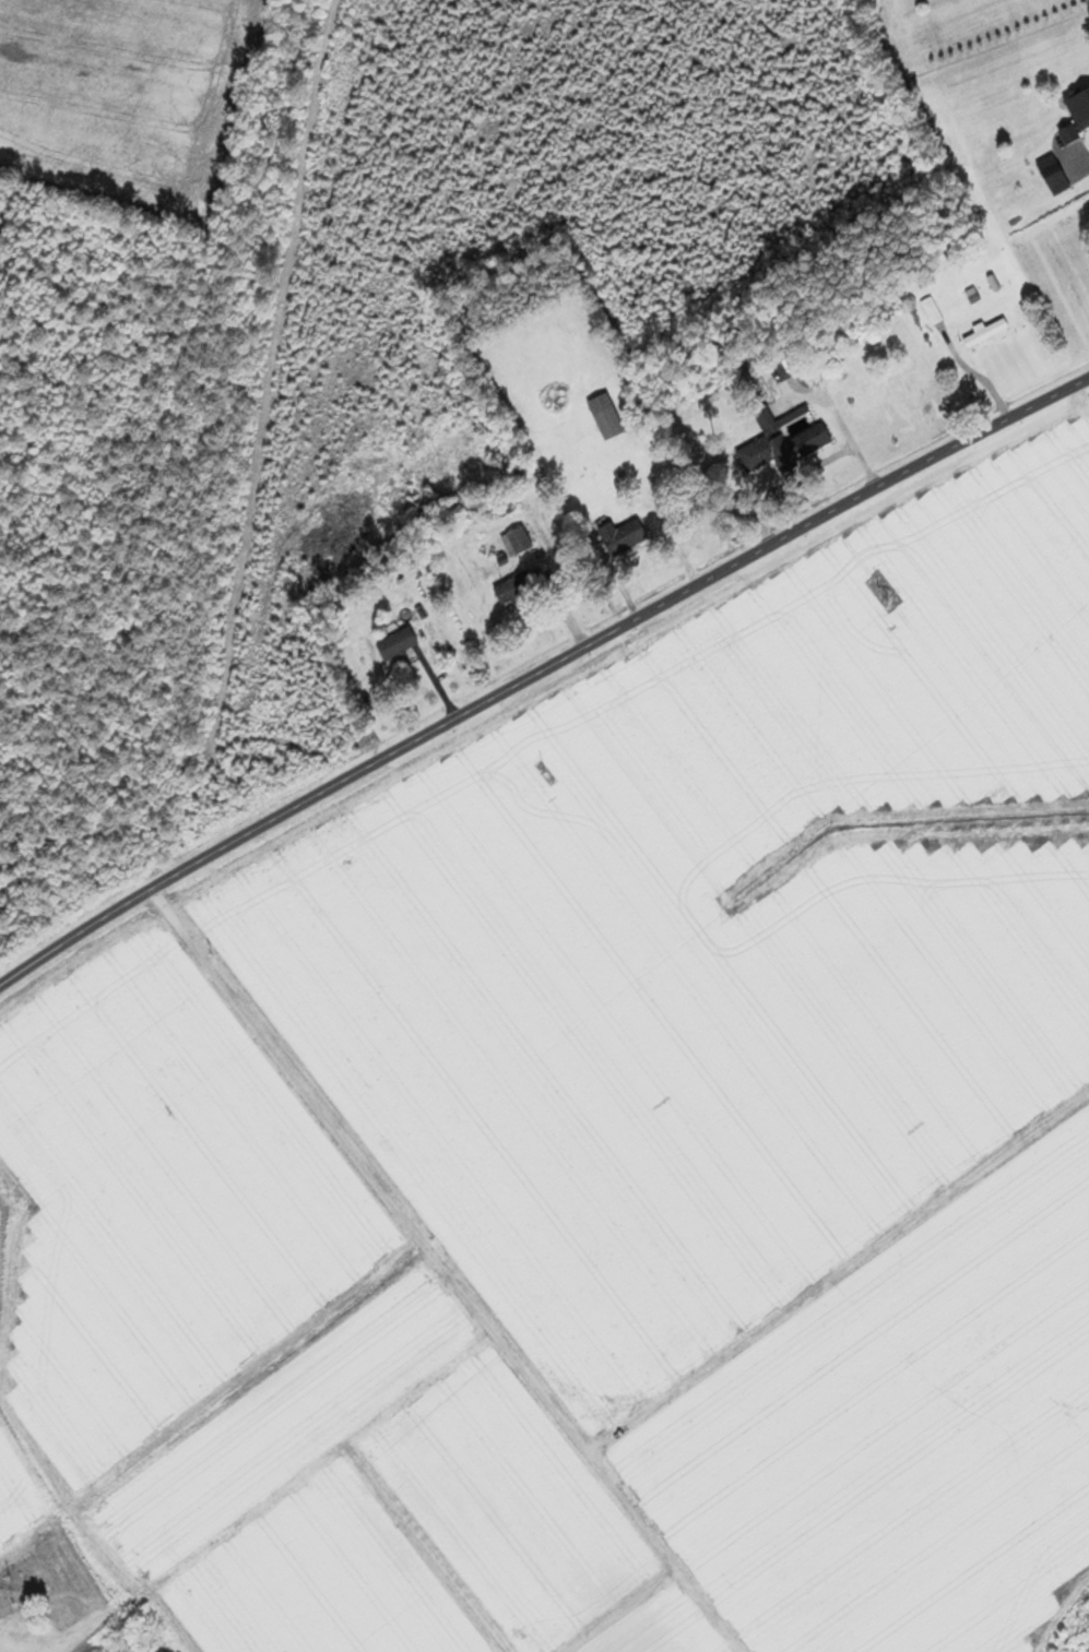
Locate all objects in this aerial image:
building: (1079, 109)
building: (1050, 170)
building: (930, 312)
building: (983, 335)
building: (641, 407)
building: (604, 417)
building: (784, 449)
building: (557, 473)
building: (623, 536)
building: (514, 543)
building: (514, 590)
building: (395, 645)
road: (538, 675)

